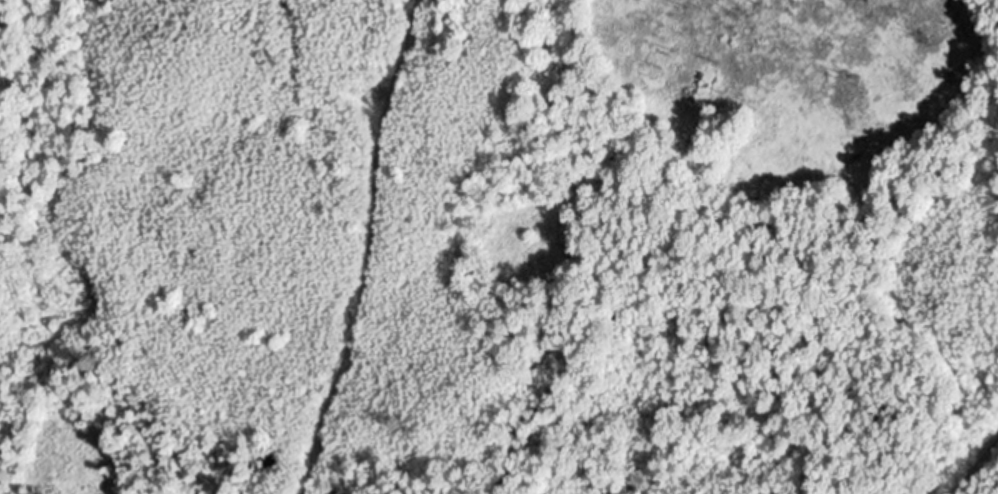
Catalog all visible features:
road: (399, 242)

